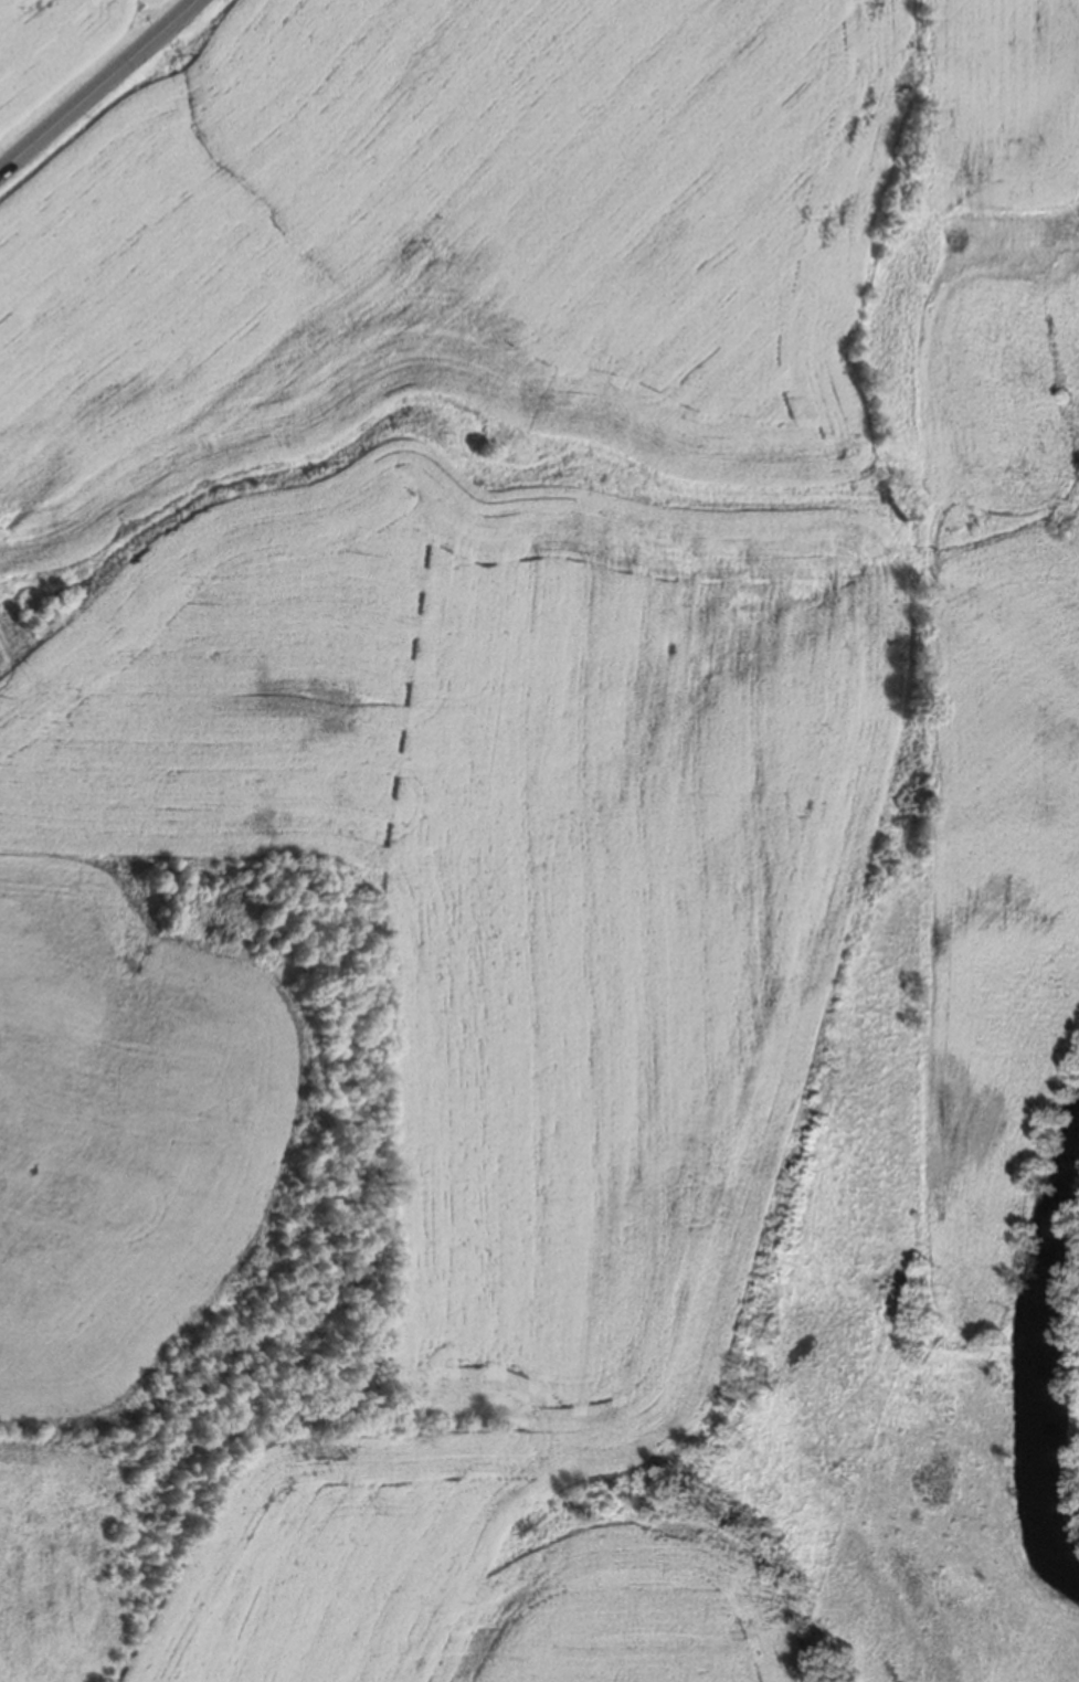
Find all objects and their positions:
road: (94, 84)
river: (1062, 1356)

